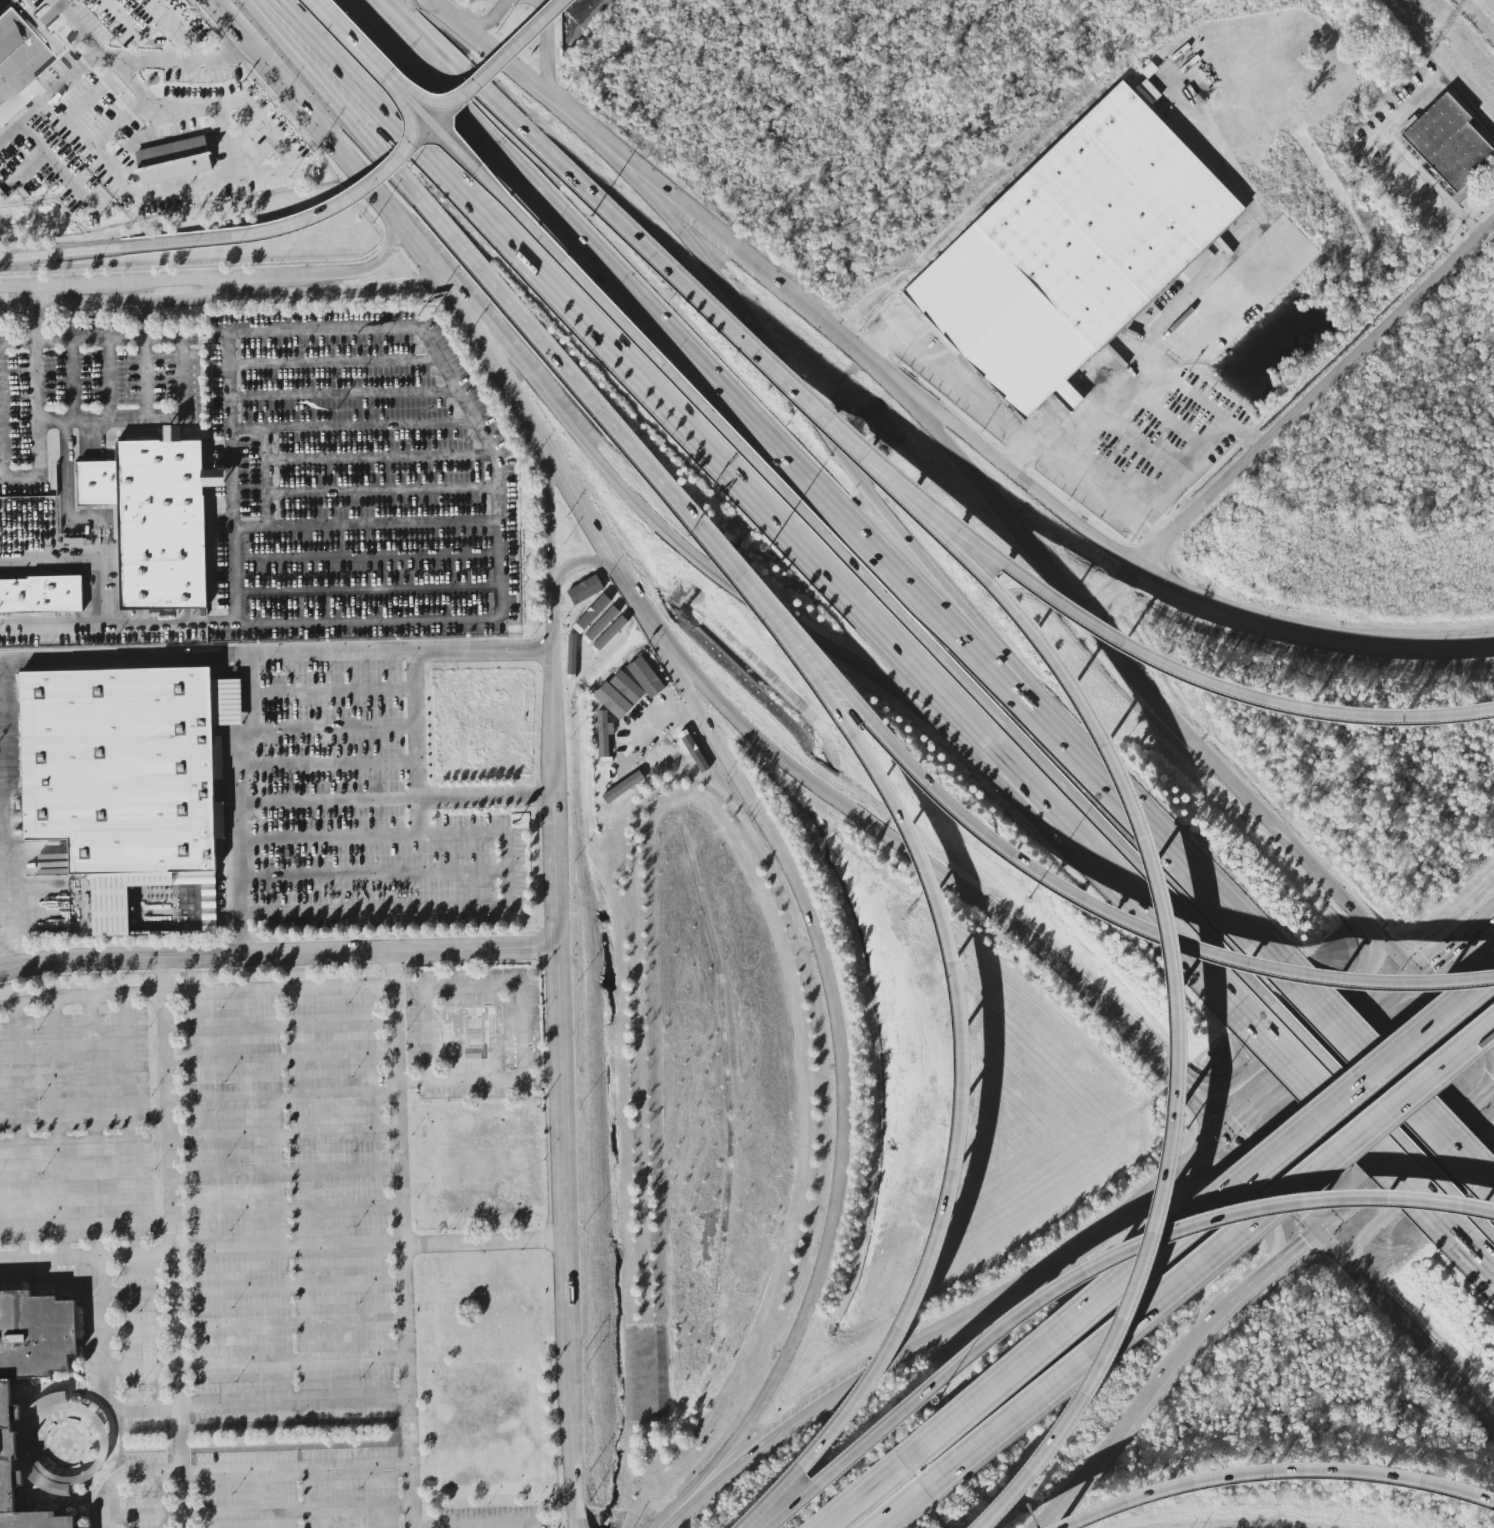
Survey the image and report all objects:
road: (62, 2)
road: (497, 18)
road: (125, 19)
road: (176, 20)
road: (79, 28)
road: (343, 37)
power tower: (1434, 40)
road: (551, 50)
road: (234, 51)
road: (96, 56)
road: (508, 61)
building: (18, 65)
road: (477, 77)
building: (1146, 93)
road: (521, 127)
building: (1447, 143)
road: (338, 147)
road: (1403, 155)
building: (172, 160)
road: (56, 167)
road: (262, 172)
road: (354, 189)
road: (671, 196)
road: (422, 206)
road: (1260, 227)
road: (546, 247)
road: (111, 249)
building: (1076, 257)
road: (210, 280)
road: (218, 288)
road: (334, 293)
road: (109, 301)
road: (814, 313)
road: (34, 314)
road: (143, 320)
road: (320, 331)
road: (131, 340)
road: (428, 344)
road: (229, 351)
road: (690, 357)
road: (333, 362)
road: (1133, 368)
road: (35, 379)
road: (181, 379)
road: (108, 380)
road: (145, 380)
road: (72, 381)
road: (229, 381)
road: (796, 388)
road: (343, 394)
road: (466, 407)
road: (1, 410)
road: (230, 412)
road: (817, 412)
road: (672, 415)
road: (1290, 418)
parking lot: (274, 419)
road: (124, 420)
road: (369, 424)
road: (247, 426)
road: (263, 443)
road: (1028, 444)
road: (379, 458)
road: (645, 462)
road: (37, 469)
road: (496, 471)
road: (232, 476)
road: (263, 476)
road: (565, 477)
road: (380, 489)
road: (497, 503)
road: (68, 505)
road: (264, 508)
road: (549, 521)
building: (159, 522)
road: (381, 523)
road: (249, 526)
road: (498, 537)
road: (367, 556)
road: (578, 565)
road: (500, 570)
road: (1151, 572)
road: (235, 574)
road: (368, 589)
building: (584, 590)
road: (746, 597)
building: (51, 598)
road: (501, 601)
road: (102, 607)
building: (592, 616)
road: (368, 620)
road: (51, 625)
building: (599, 627)
building: (609, 634)
building: (571, 655)
road: (482, 658)
road: (330, 660)
road: (63, 667)
road: (1138, 670)
building: (645, 678)
road: (1194, 685)
building: (627, 687)
road: (331, 693)
building: (612, 702)
road: (987, 709)
road: (249, 714)
road: (332, 727)
building: (604, 735)
building: (674, 745)
road: (327, 760)
building: (648, 761)
road: (237, 782)
building: (131, 785)
building: (618, 795)
road: (395, 801)
parking lot: (371, 813)
road: (418, 825)
road: (329, 840)
road: (896, 844)
road: (1158, 849)
road: (1032, 860)
road: (373, 872)
road: (240, 880)
building: (194, 904)
road: (374, 905)
road: (812, 918)
road: (1479, 926)
road: (1153, 933)
road: (277, 955)
road: (1441, 957)
road: (1, 964)
traffic signals: (1418, 974)
road: (1465, 983)
road: (475, 989)
road: (197, 992)
road: (963, 1013)
road: (1456, 1015)
road: (1176, 1018)
road: (1306, 1024)
road: (281, 1025)
building: (468, 1033)
road: (1338, 1040)
road: (1150, 1058)
road: (561, 1059)
road: (282, 1061)
road: (480, 1079)
road: (1389, 1087)
road: (283, 1099)
road: (1199, 1107)
road: (1370, 1110)
road: (1242, 1120)
road: (133, 1127)
road: (97, 1128)
road: (59, 1130)
road: (1344, 1132)
road: (23, 1134)
traffic signals: (1226, 1134)
road: (285, 1136)
road: (1407, 1165)
road: (286, 1173)
road: (1252, 1200)
road: (1411, 1200)
road: (287, 1210)
road: (1196, 1224)
road: (1485, 1232)
traffic signals: (1321, 1235)
road: (402, 1240)
road: (173, 1243)
parking lot: (223, 1247)
road: (487, 1247)
road: (1304, 1249)
road: (1073, 1250)
road: (288, 1254)
road: (155, 1258)
road: (68, 1261)
road: (1094, 1265)
road: (1474, 1268)
road: (1214, 1271)
road: (1361, 1280)
road: (1260, 1284)
road: (289, 1287)
road: (291, 1325)
road: (102, 1335)
road: (784, 1349)
road: (292, 1361)
building: (29, 1380)
road: (294, 1401)
road: (148, 1405)
road: (813, 1409)
building: (38, 1411)
road: (1135, 1416)
road: (296, 1470)
road: (1275, 1470)
road: (122, 1475)
road: (862, 1496)
road: (695, 1502)
road: (297, 1509)
road: (904, 1512)
road: (145, 1514)
road: (495, 1525)
road: (1258, 1527)

